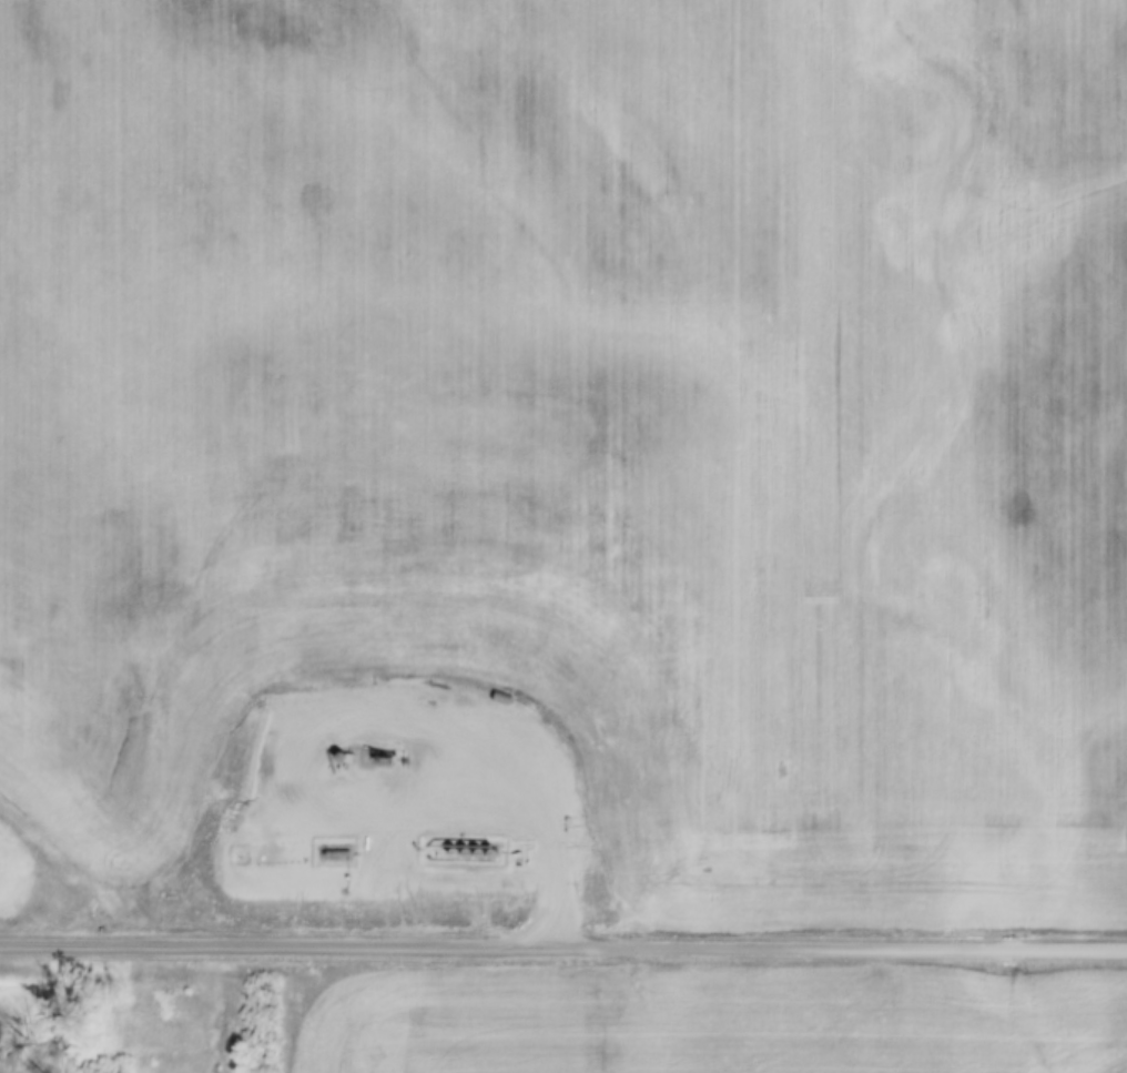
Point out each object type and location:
road: (361, 721)
building: (379, 756)
building: (342, 758)
building: (362, 842)
building: (331, 851)
road: (562, 949)

